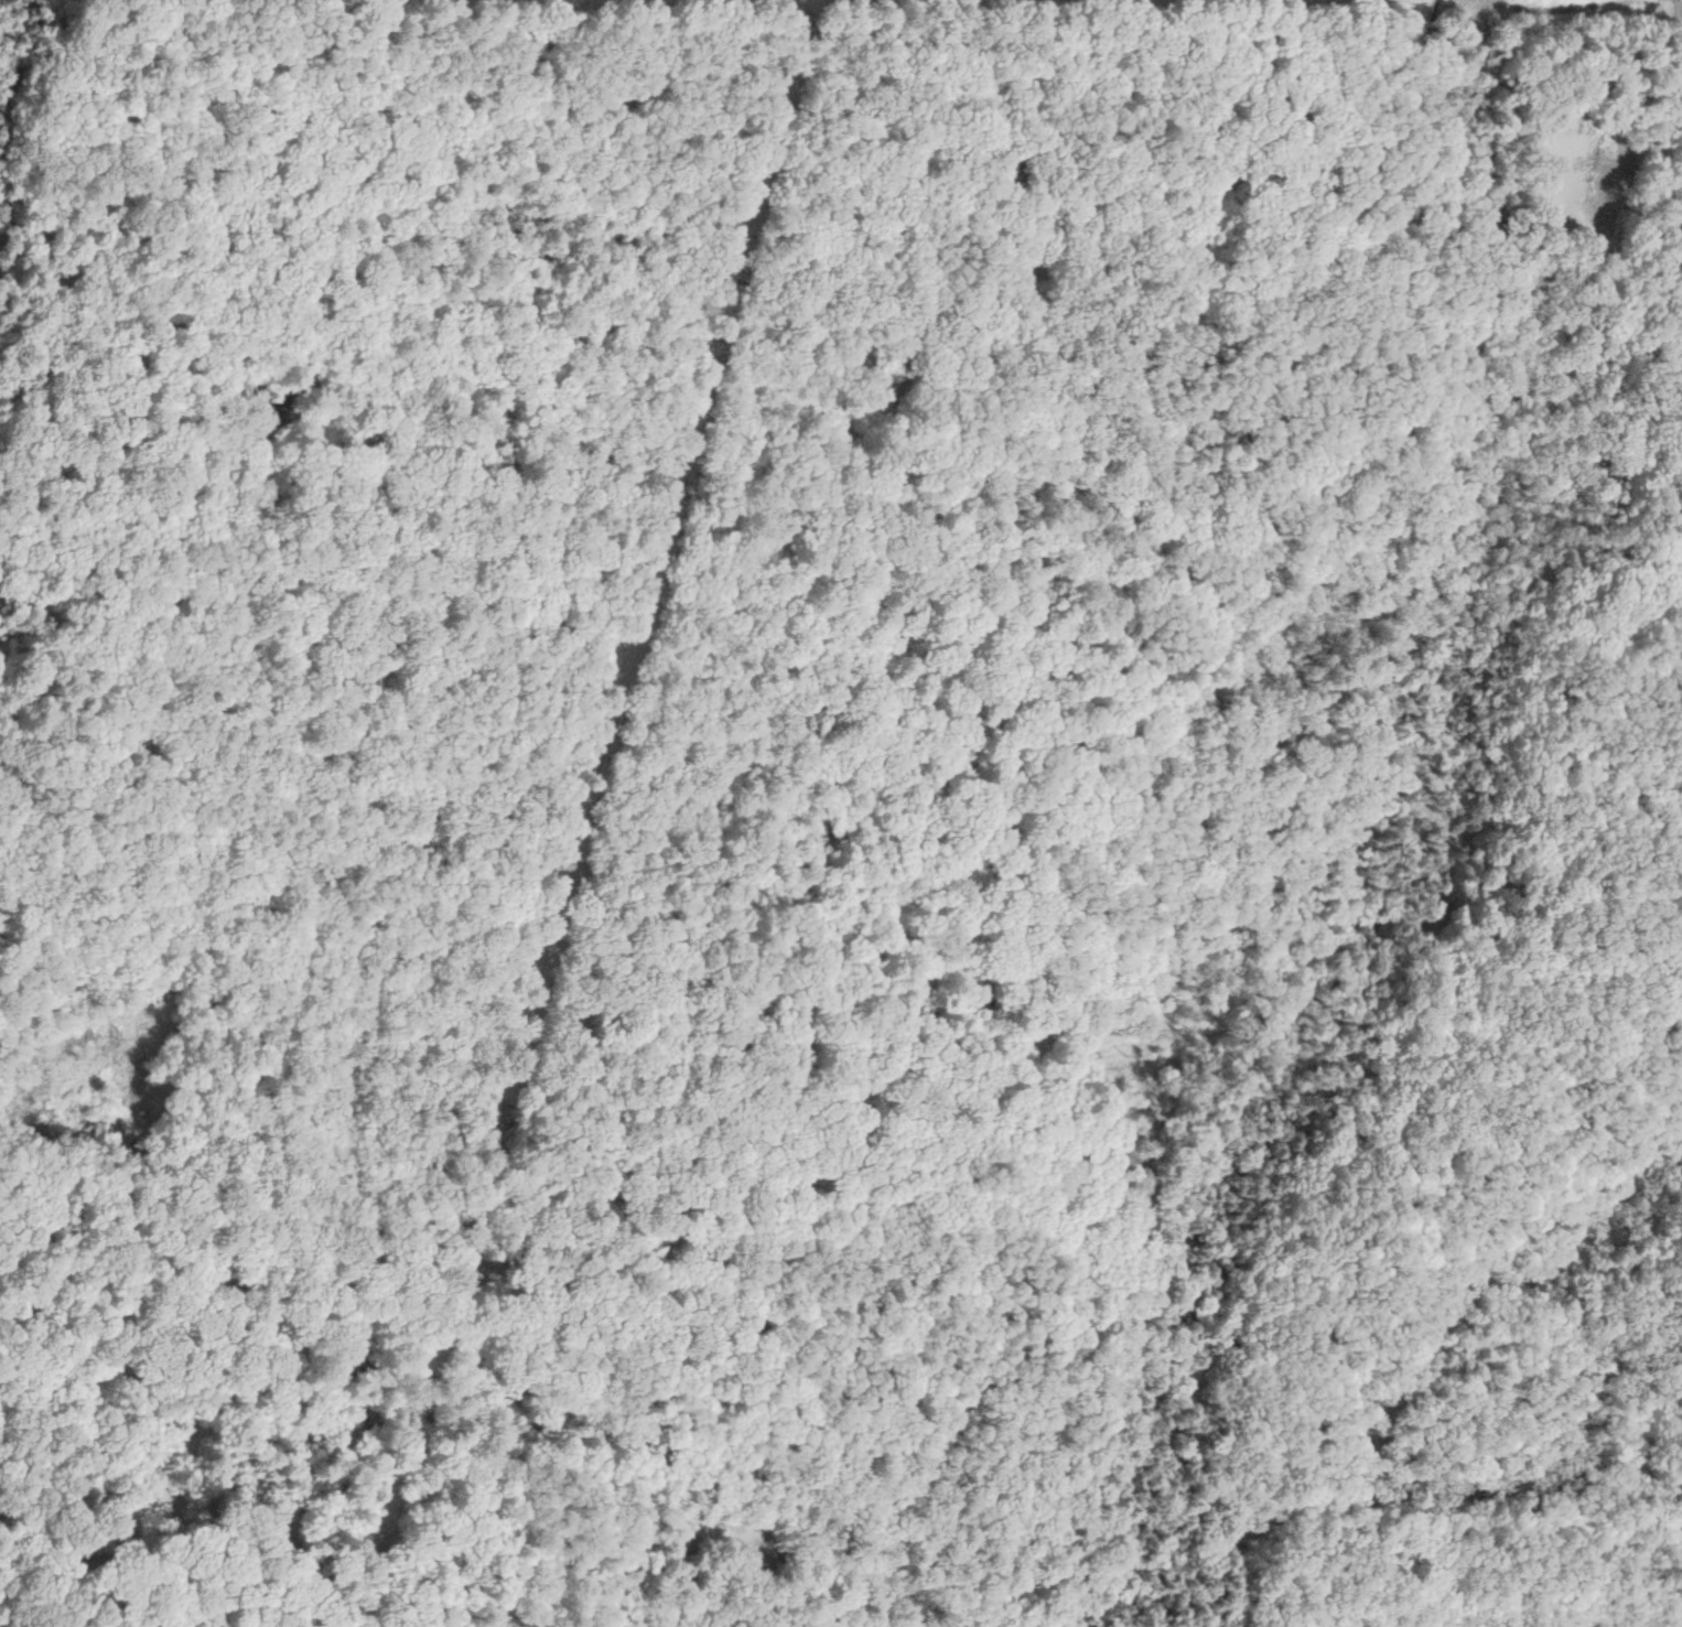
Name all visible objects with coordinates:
road: (729, 949)

